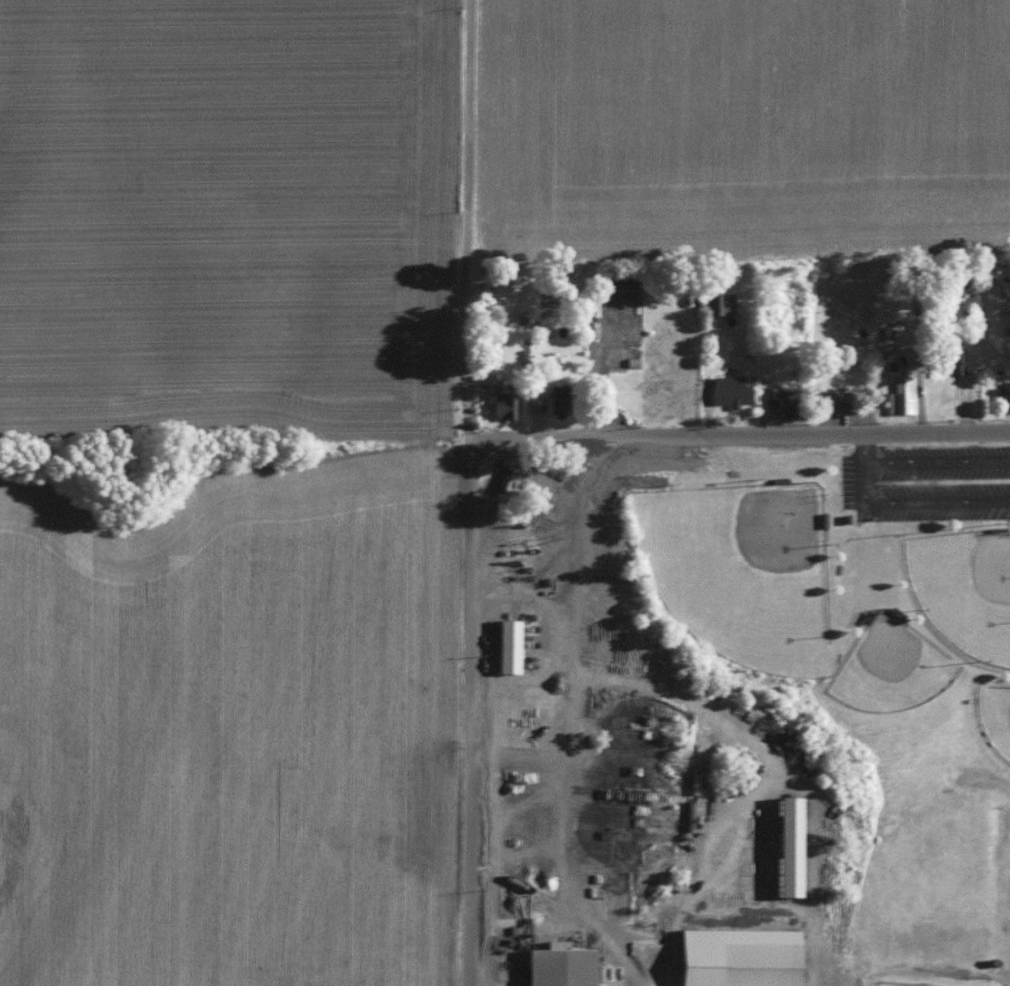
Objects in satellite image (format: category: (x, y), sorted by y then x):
road: (475, 225)
building: (957, 280)
building: (613, 287)
building: (718, 301)
building: (881, 307)
building: (1007, 311)
building: (953, 359)
road: (621, 372)
building: (728, 389)
building: (899, 394)
building: (1006, 394)
building: (781, 399)
building: (554, 400)
building: (829, 400)
building: (499, 404)
road: (718, 410)
road: (739, 436)
road: (937, 462)
road: (905, 500)
park: (739, 568)
building: (505, 644)
park: (890, 666)
park: (995, 715)
road: (476, 726)
building: (783, 845)
building: (735, 956)
building: (557, 965)
road: (934, 971)
park: (908, 984)

